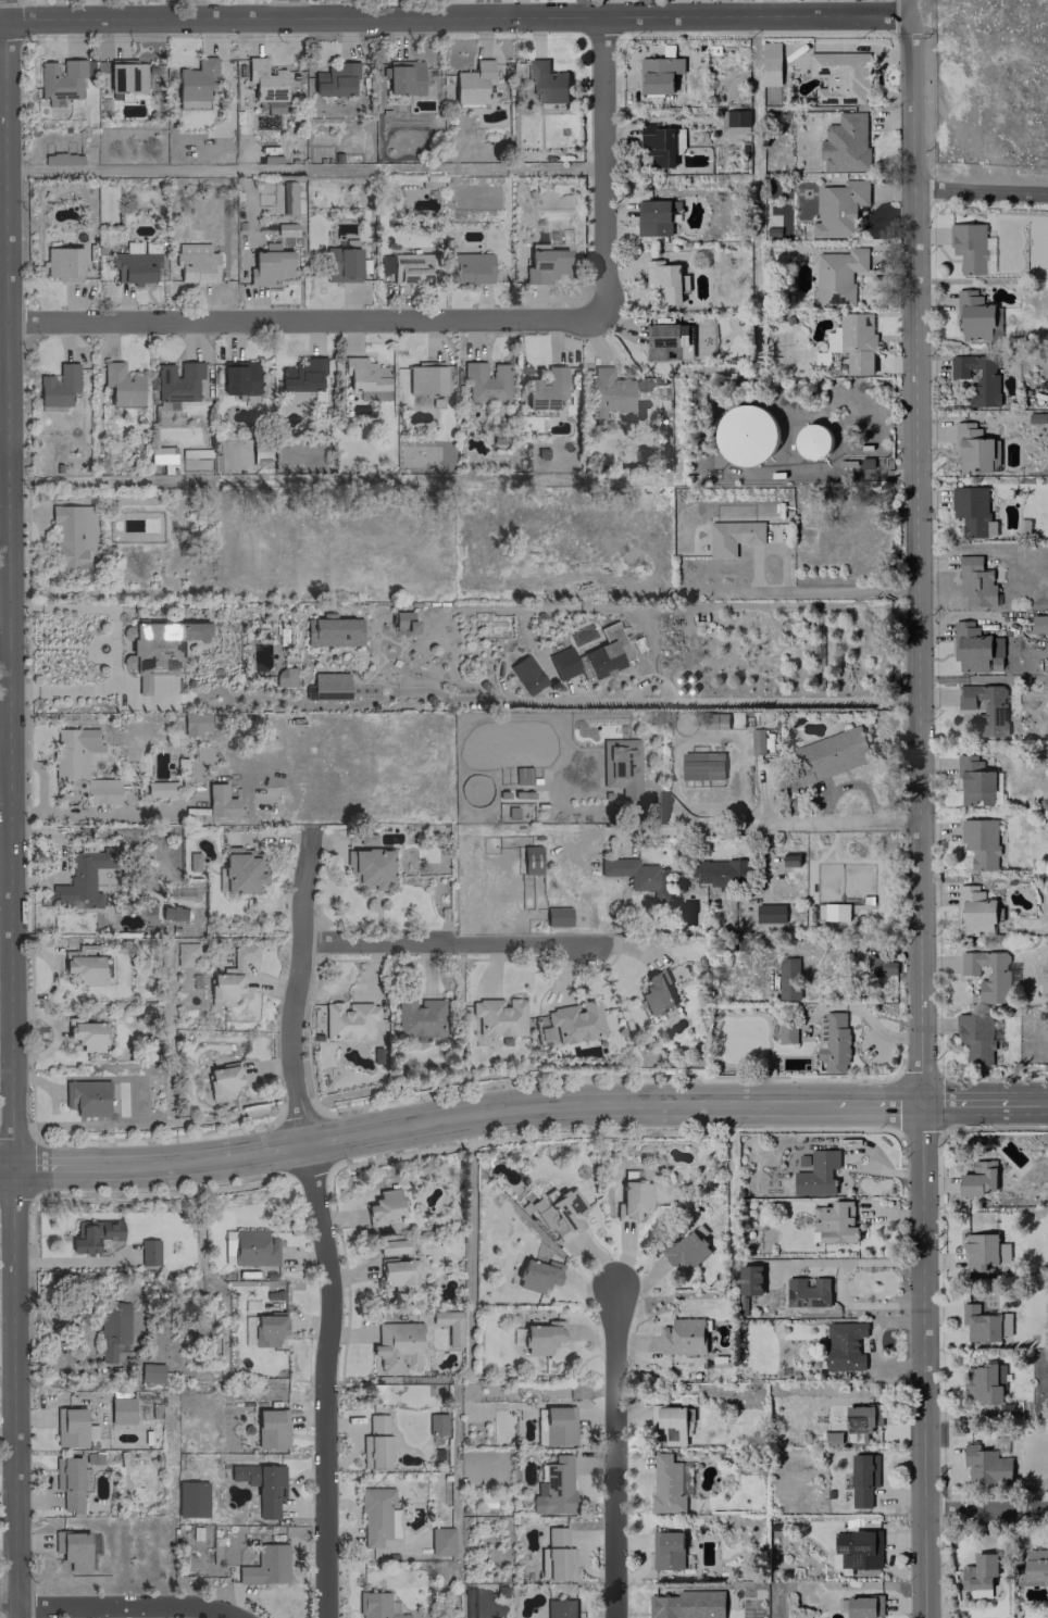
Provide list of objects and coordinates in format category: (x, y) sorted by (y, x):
road: (904, 7)
road: (291, 8)
road: (452, 14)
road: (3, 20)
building: (770, 63)
building: (126, 75)
building: (662, 75)
building: (839, 76)
building: (402, 77)
building: (61, 79)
building: (334, 79)
building: (263, 80)
building: (547, 81)
building: (195, 83)
building: (472, 83)
building: (734, 121)
building: (678, 140)
building: (846, 142)
building: (658, 145)
road: (2, 155)
building: (61, 159)
road: (603, 165)
road: (304, 168)
road: (981, 191)
building: (287, 198)
building: (839, 208)
building: (286, 229)
building: (150, 246)
building: (972, 248)
building: (62, 261)
building: (195, 263)
building: (134, 264)
building: (269, 264)
building: (341, 264)
building: (545, 265)
building: (411, 267)
building: (469, 267)
building: (838, 275)
building: (665, 280)
building: (975, 316)
road: (305, 318)
road: (2, 336)
building: (662, 341)
building: (858, 342)
building: (300, 376)
building: (978, 376)
building: (238, 377)
building: (365, 378)
building: (424, 379)
building: (485, 381)
building: (176, 384)
building: (57, 385)
building: (121, 385)
building: (545, 388)
building: (615, 390)
building: (748, 435)
storage tank: (748, 435)
building: (814, 441)
storage tank: (814, 441)
building: (976, 450)
building: (259, 452)
building: (161, 454)
building: (972, 511)
building: (733, 536)
road: (773, 549)
road: (916, 555)
building: (976, 582)
road: (800, 591)
road: (3, 602)
road: (8, 603)
road: (579, 607)
road: (100, 610)
building: (402, 620)
building: (1039, 624)
building: (332, 630)
building: (974, 647)
building: (155, 648)
building: (602, 660)
building: (562, 663)
building: (526, 674)
building: (283, 677)
road: (637, 682)
building: (328, 685)
road: (460, 699)
building: (985, 707)
building: (194, 723)
building: (757, 741)
building: (829, 754)
building: (702, 765)
building: (620, 766)
building: (79, 767)
building: (975, 781)
building: (160, 789)
building: (207, 799)
road: (691, 824)
building: (1047, 824)
building: (365, 839)
building: (981, 842)
building: (790, 858)
building: (531, 860)
building: (191, 861)
building: (367, 867)
building: (720, 871)
building: (637, 875)
building: (83, 879)
building: (836, 911)
building: (975, 911)
building: (770, 912)
building: (171, 913)
building: (557, 916)
road: (441, 942)
building: (185, 954)
building: (881, 965)
building: (83, 967)
building: (988, 974)
building: (229, 976)
building: (788, 978)
building: (654, 994)
building: (498, 1016)
building: (419, 1017)
building: (348, 1019)
building: (575, 1020)
building: (787, 1031)
building: (821, 1031)
building: (977, 1037)
building: (835, 1043)
building: (376, 1054)
building: (222, 1080)
building: (86, 1096)
road: (972, 1099)
road: (1035, 1099)
road: (874, 1100)
road: (614, 1103)
road: (353, 1133)
road: (246, 1152)
road: (147, 1165)
road: (5, 1168)
road: (59, 1168)
building: (818, 1172)
building: (978, 1178)
building: (632, 1199)
building: (383, 1206)
building: (560, 1214)
road: (319, 1219)
building: (835, 1221)
building: (93, 1234)
building: (391, 1246)
building: (252, 1247)
building: (687, 1249)
building: (980, 1251)
building: (148, 1252)
building: (396, 1275)
building: (537, 1275)
building: (749, 1279)
road: (838, 1283)
building: (807, 1291)
building: (984, 1324)
building: (448, 1325)
building: (112, 1329)
building: (266, 1329)
building: (682, 1335)
building: (540, 1338)
building: (844, 1344)
building: (397, 1345)
road: (924, 1358)
building: (149, 1372)
building: (983, 1382)
road: (13, 1393)
building: (120, 1409)
building: (861, 1421)
building: (435, 1423)
building: (671, 1425)
building: (71, 1427)
building: (271, 1428)
building: (374, 1442)
road: (615, 1453)
building: (986, 1465)
building: (861, 1480)
building: (67, 1481)
building: (670, 1483)
building: (259, 1485)
building: (553, 1488)
building: (190, 1498)
road: (987, 1508)
building: (377, 1516)
building: (440, 1541)
building: (75, 1548)
building: (858, 1548)
building: (668, 1550)
building: (553, 1555)
building: (265, 1565)
building: (1034, 1566)
building: (980, 1571)
building: (687, 1604)
road: (8, 1605)
road: (124, 1606)
building: (375, 1606)
building: (864, 1606)
building: (560, 1608)

